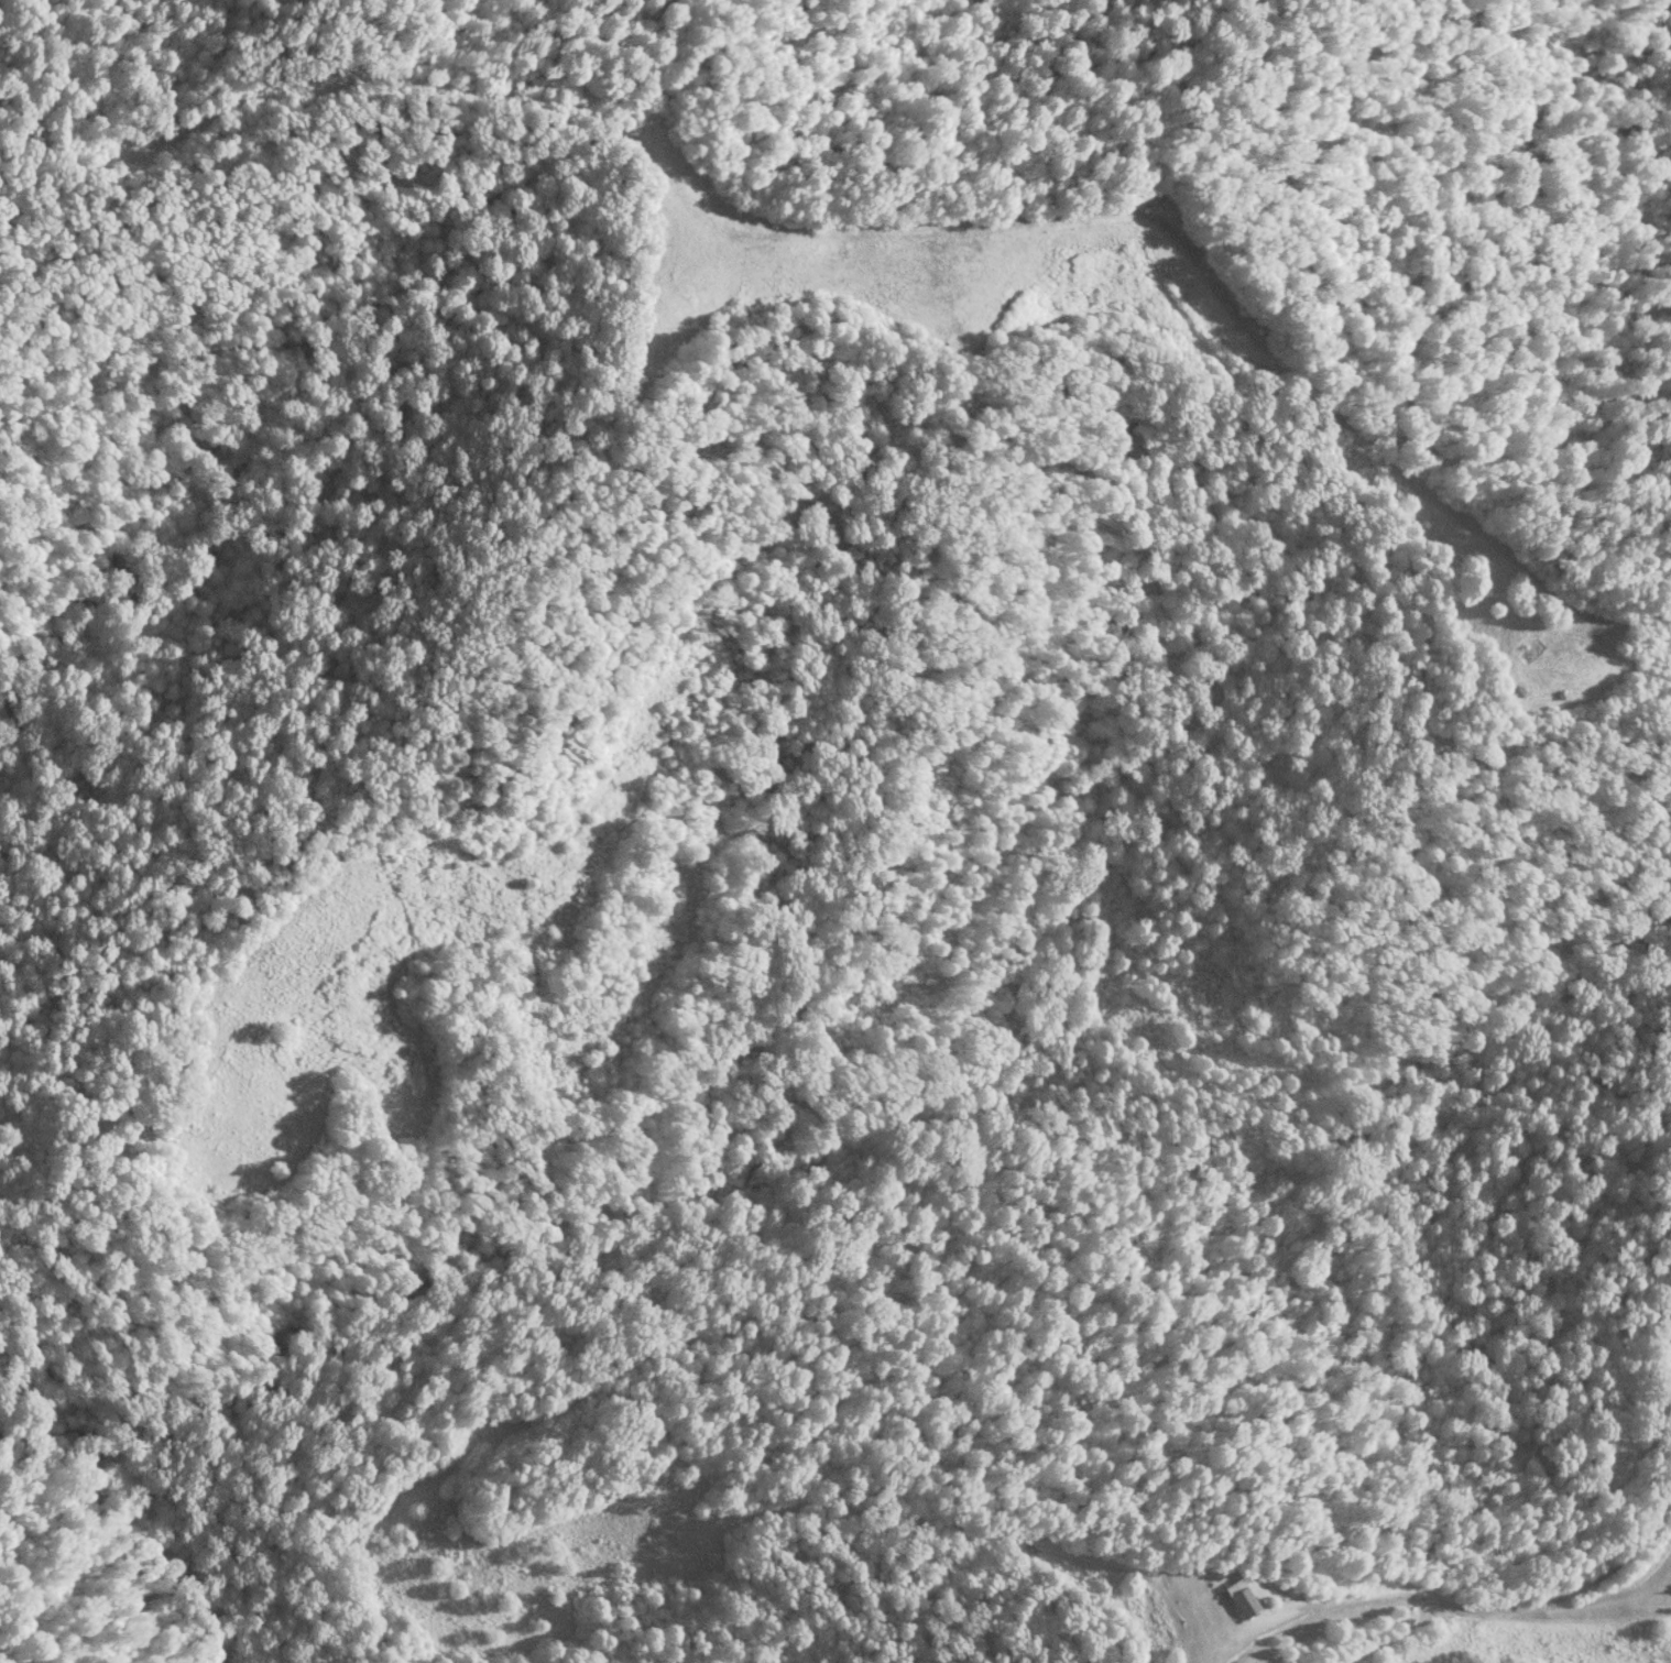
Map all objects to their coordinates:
building: (1522, 690)
building: (1667, 1325)
road: (1565, 1595)
building: (1247, 1596)

